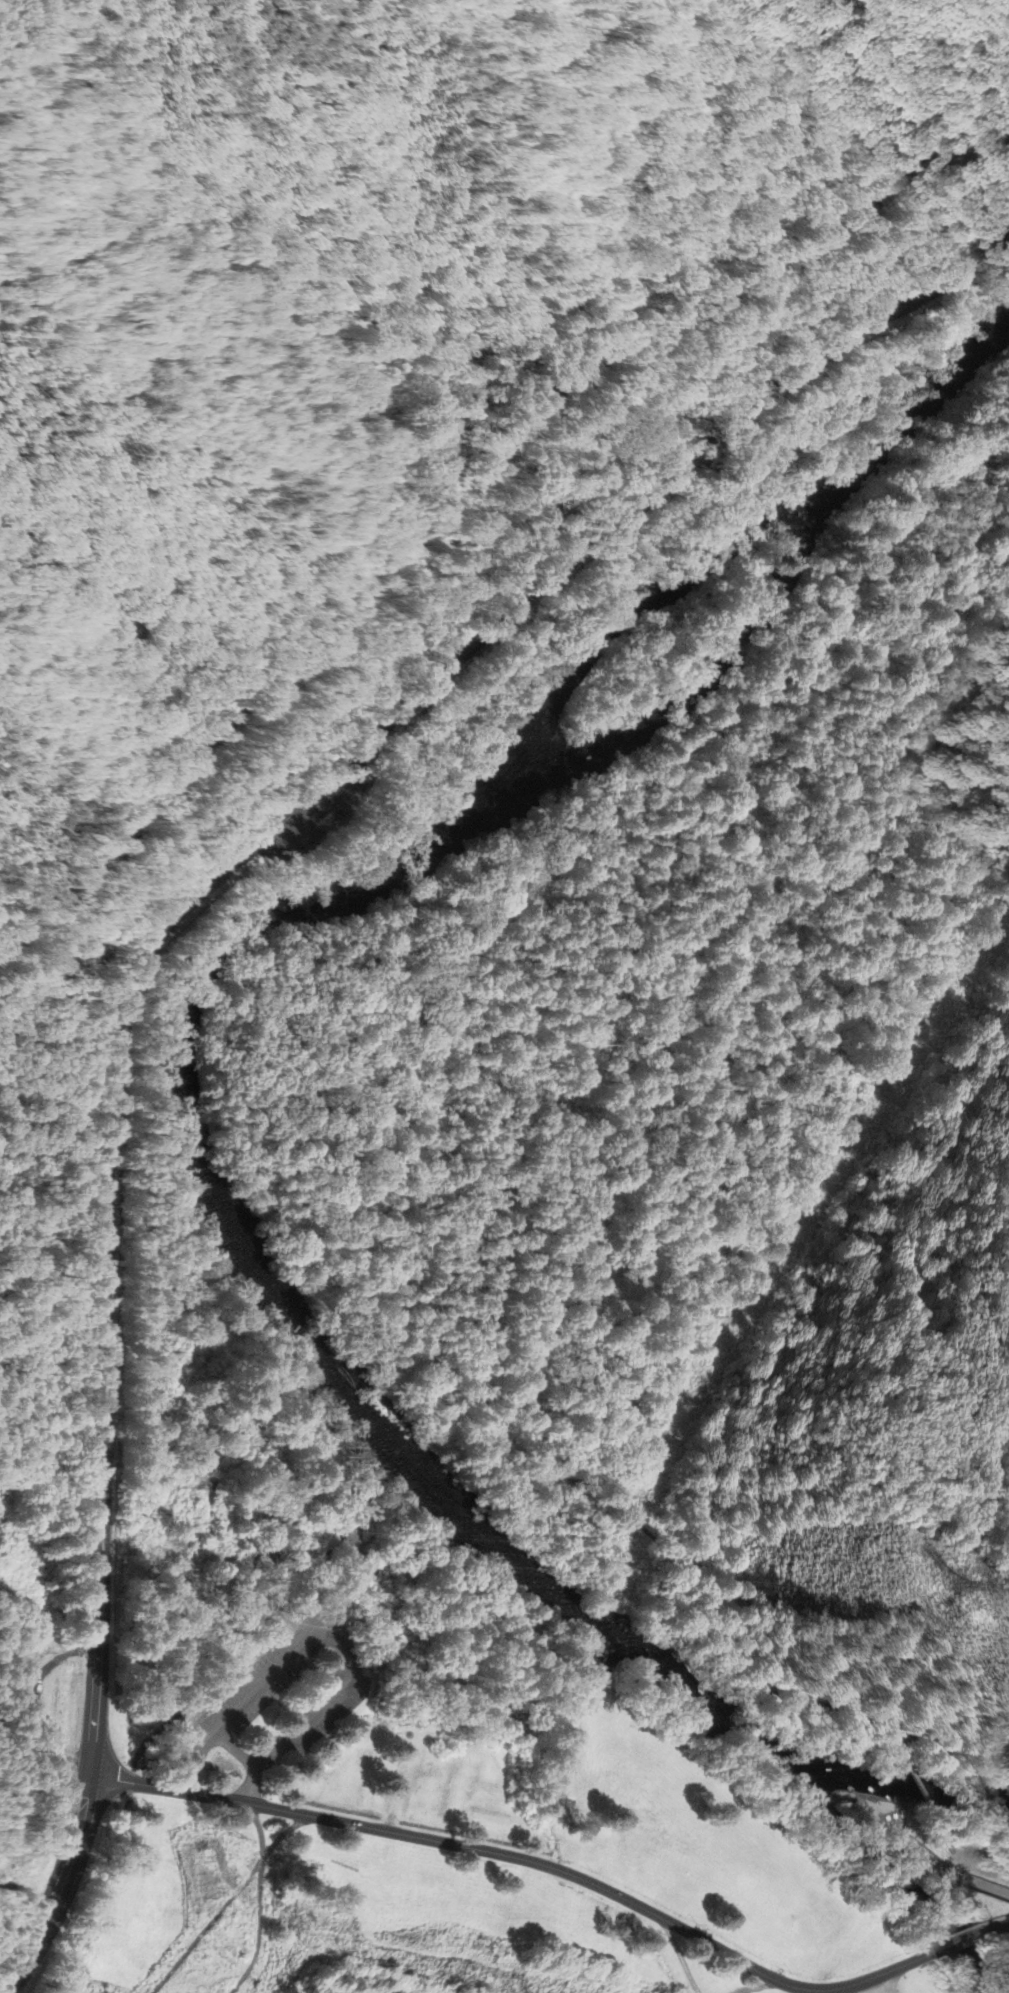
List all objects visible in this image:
railway: (760, 263)
road: (832, 339)
river: (907, 418)
river: (637, 607)
railway: (267, 677)
road: (192, 895)
river: (175, 1041)
road: (470, 1075)
road: (343, 1584)
power tower: (953, 1584)
road: (326, 1636)
road: (98, 1644)
building: (145, 1649)
road: (185, 1650)
road: (228, 1655)
building: (175, 1666)
river: (666, 1682)
parking lot: (253, 1684)
road: (268, 1692)
parking lot: (323, 1712)
road: (234, 1751)
road: (949, 1752)
road: (920, 1791)
road: (282, 1835)
road: (447, 1843)
road: (967, 1857)
road: (930, 1859)
road: (58, 1888)
road: (225, 1903)
road: (1001, 1925)
road: (961, 1942)
road: (680, 1956)
road: (856, 1983)
road: (759, 1986)
road: (871, 1986)

